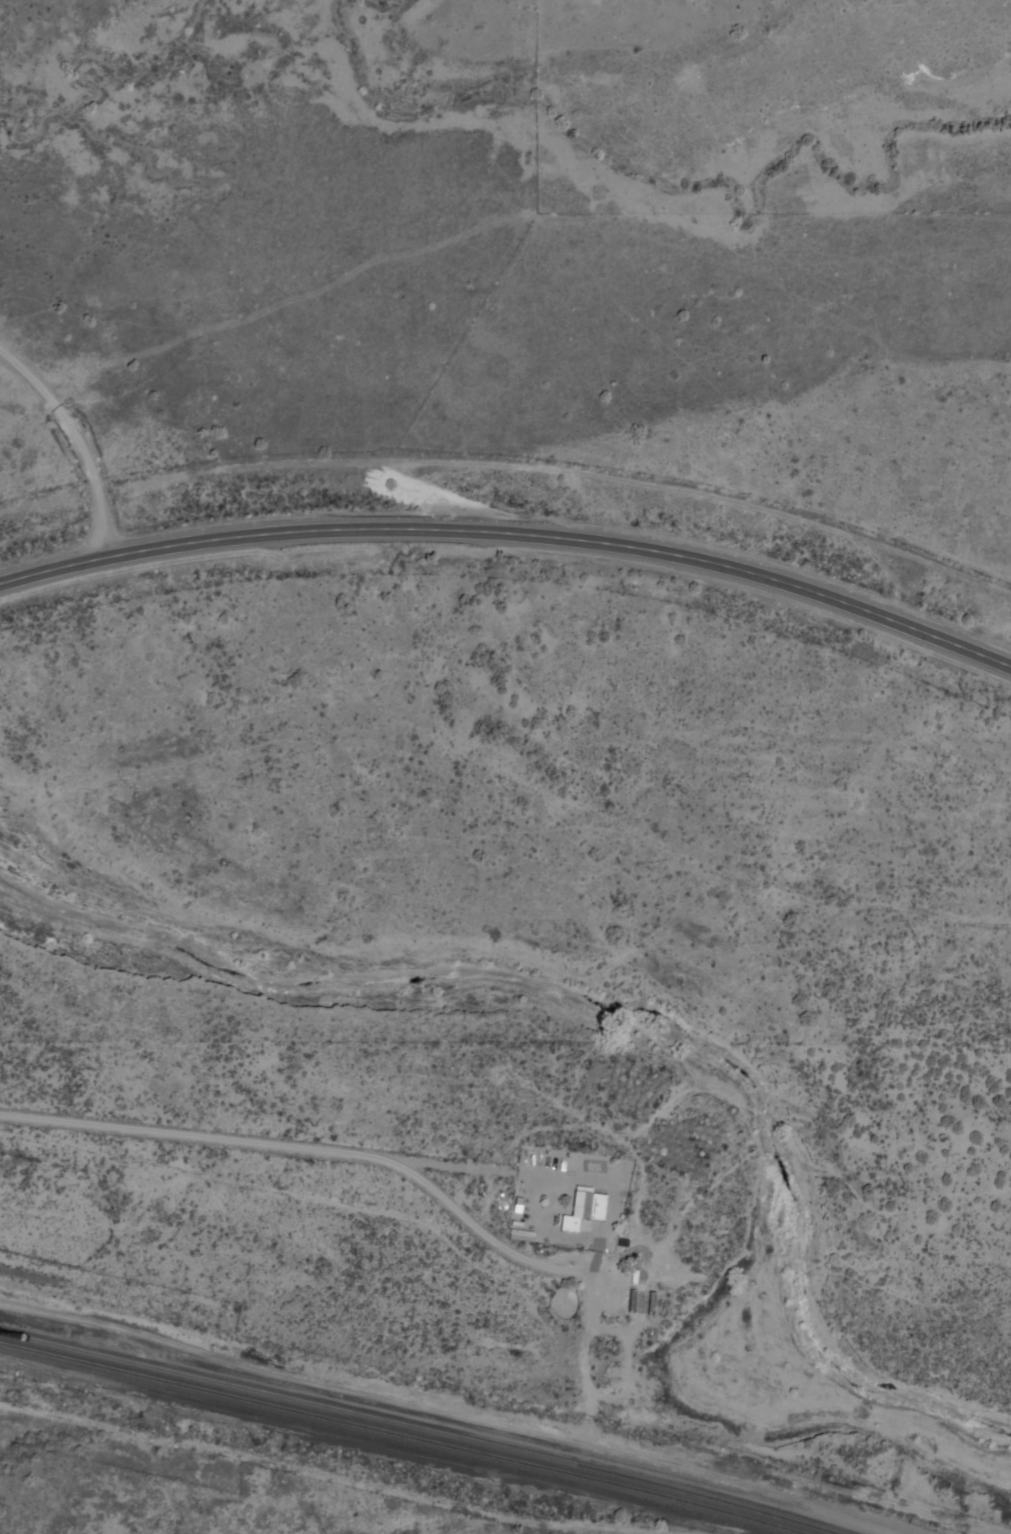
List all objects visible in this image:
road: (73, 444)
road: (513, 536)
road: (256, 1146)
building: (580, 1210)
road: (480, 1234)
building: (517, 1237)
road: (582, 1347)
road: (291, 1373)
railway: (237, 1383)
railway: (236, 1395)
railway: (661, 1483)
railway: (643, 1490)

